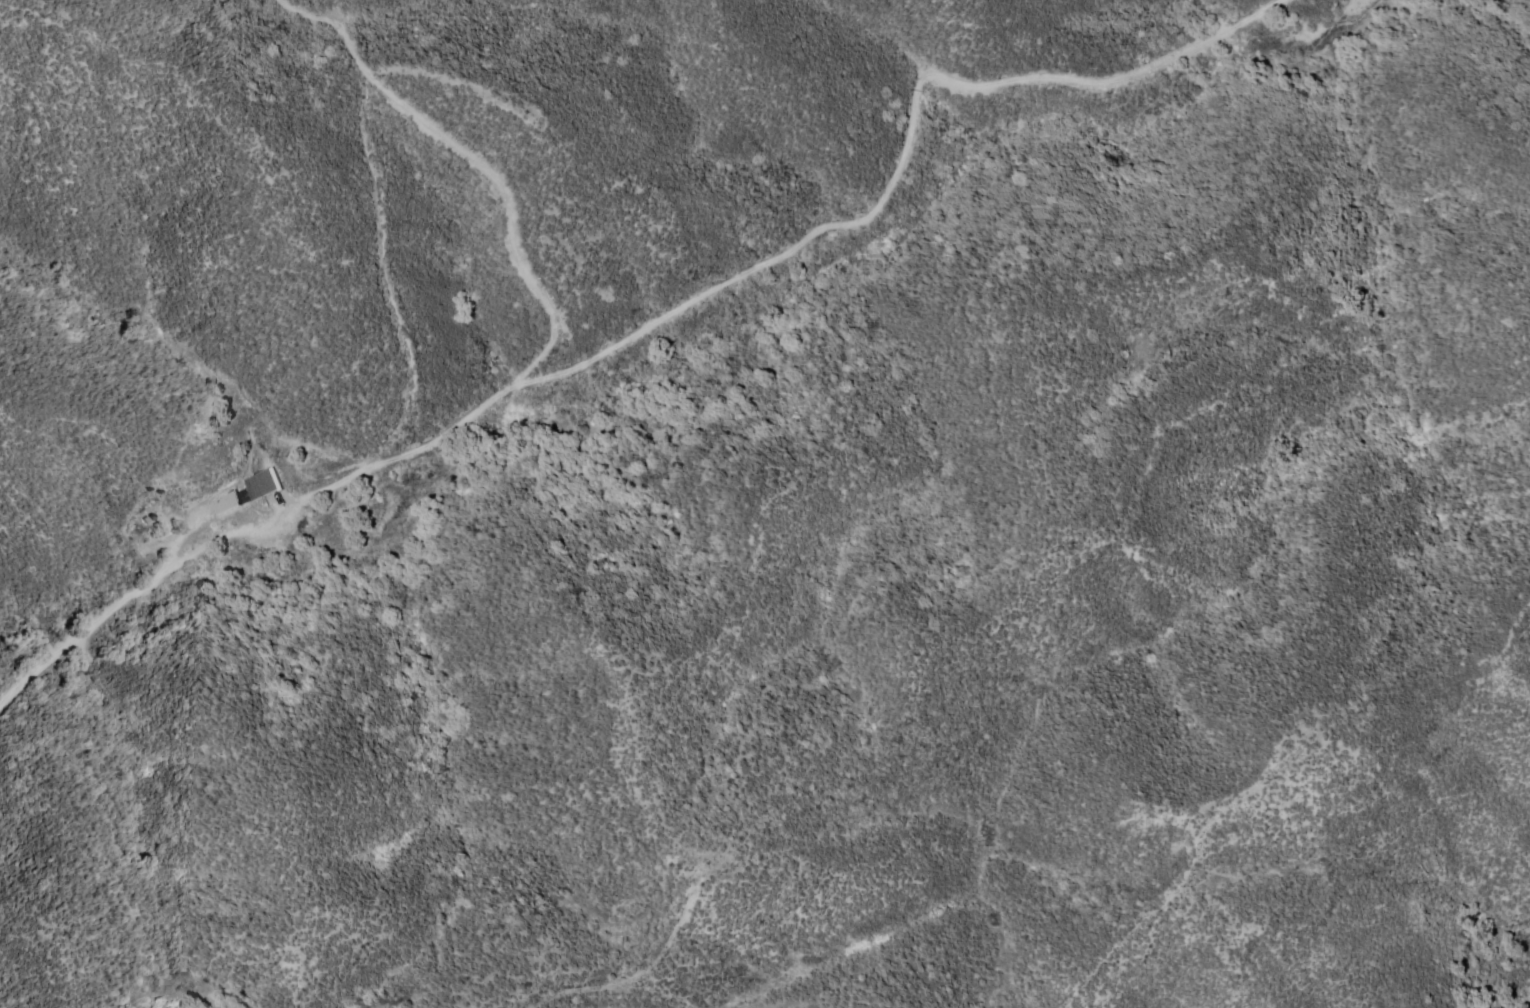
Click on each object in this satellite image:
road: (661, 320)
building: (269, 482)
building: (228, 505)

